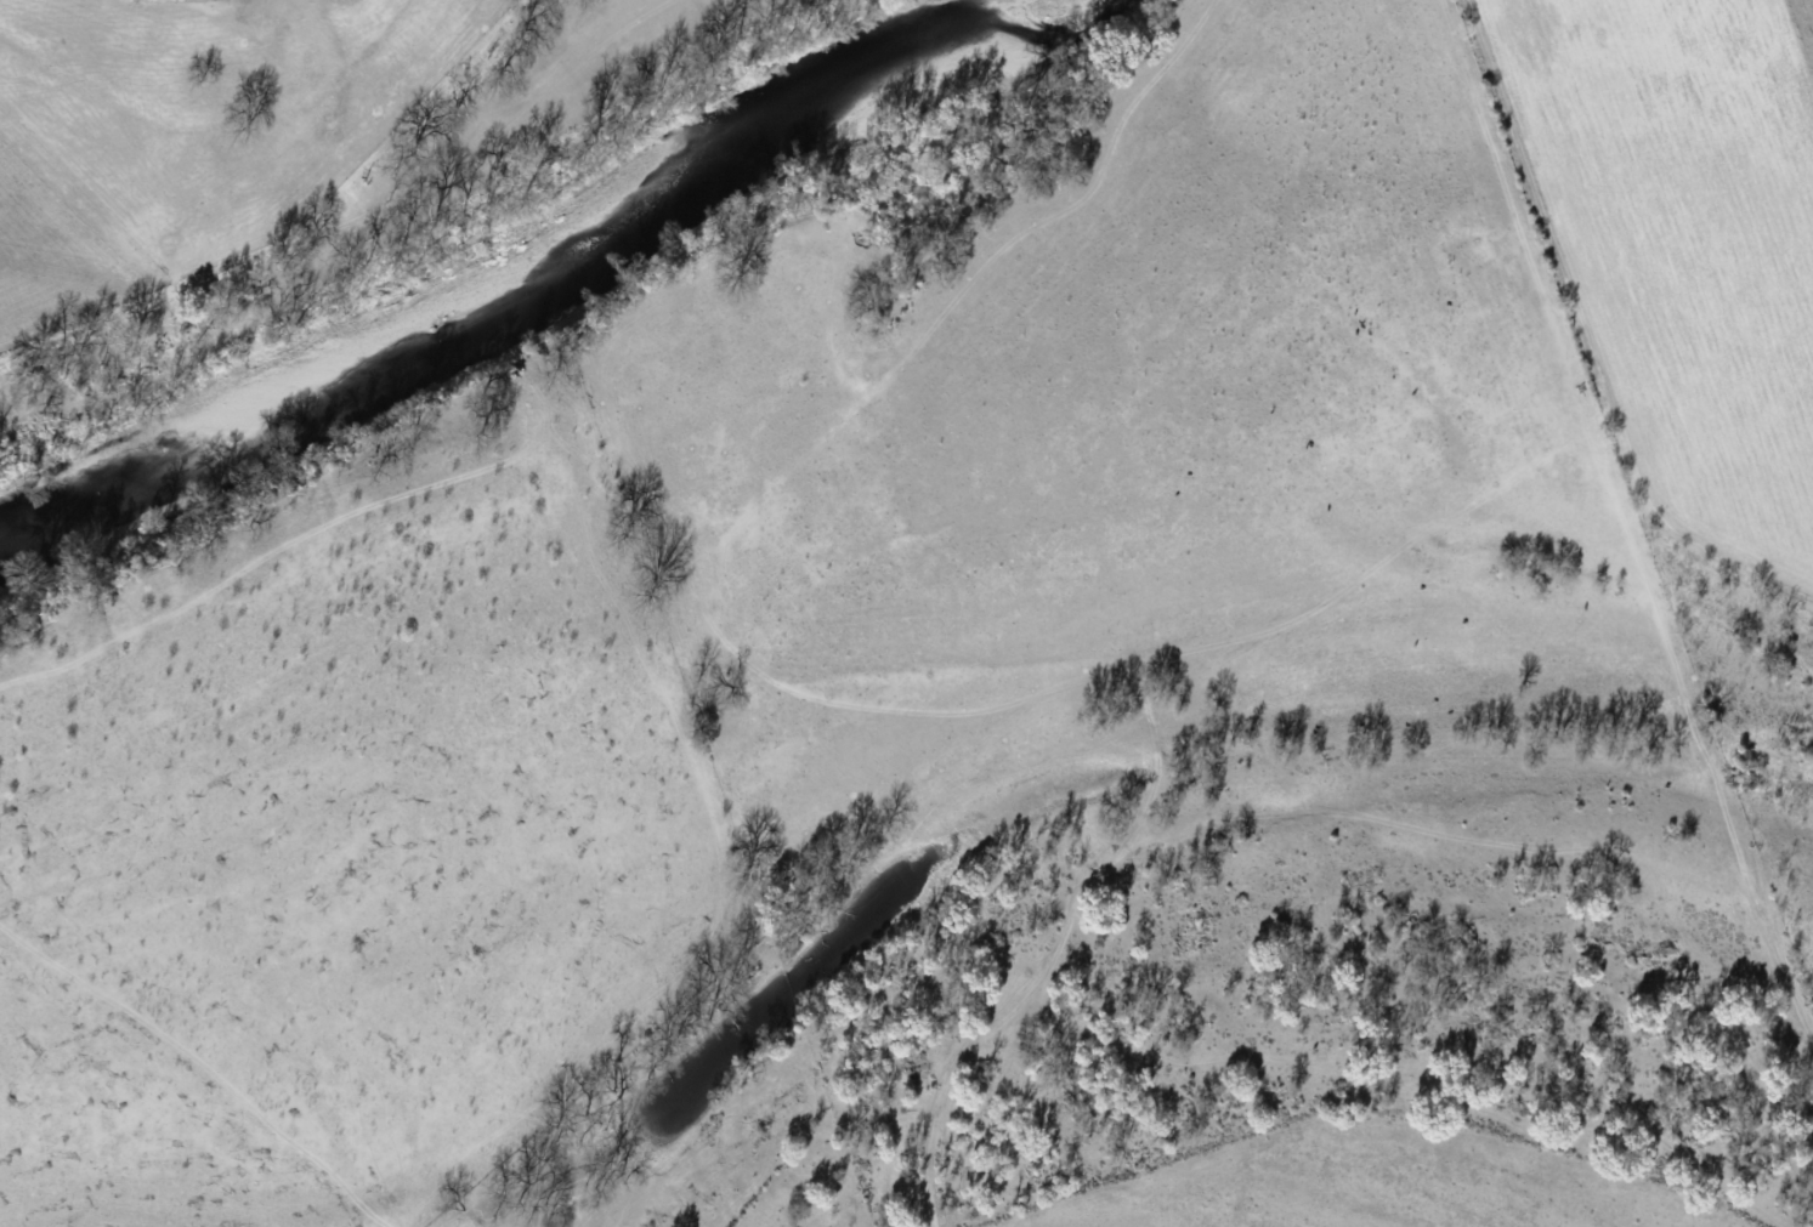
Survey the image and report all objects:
river: (559, 238)

